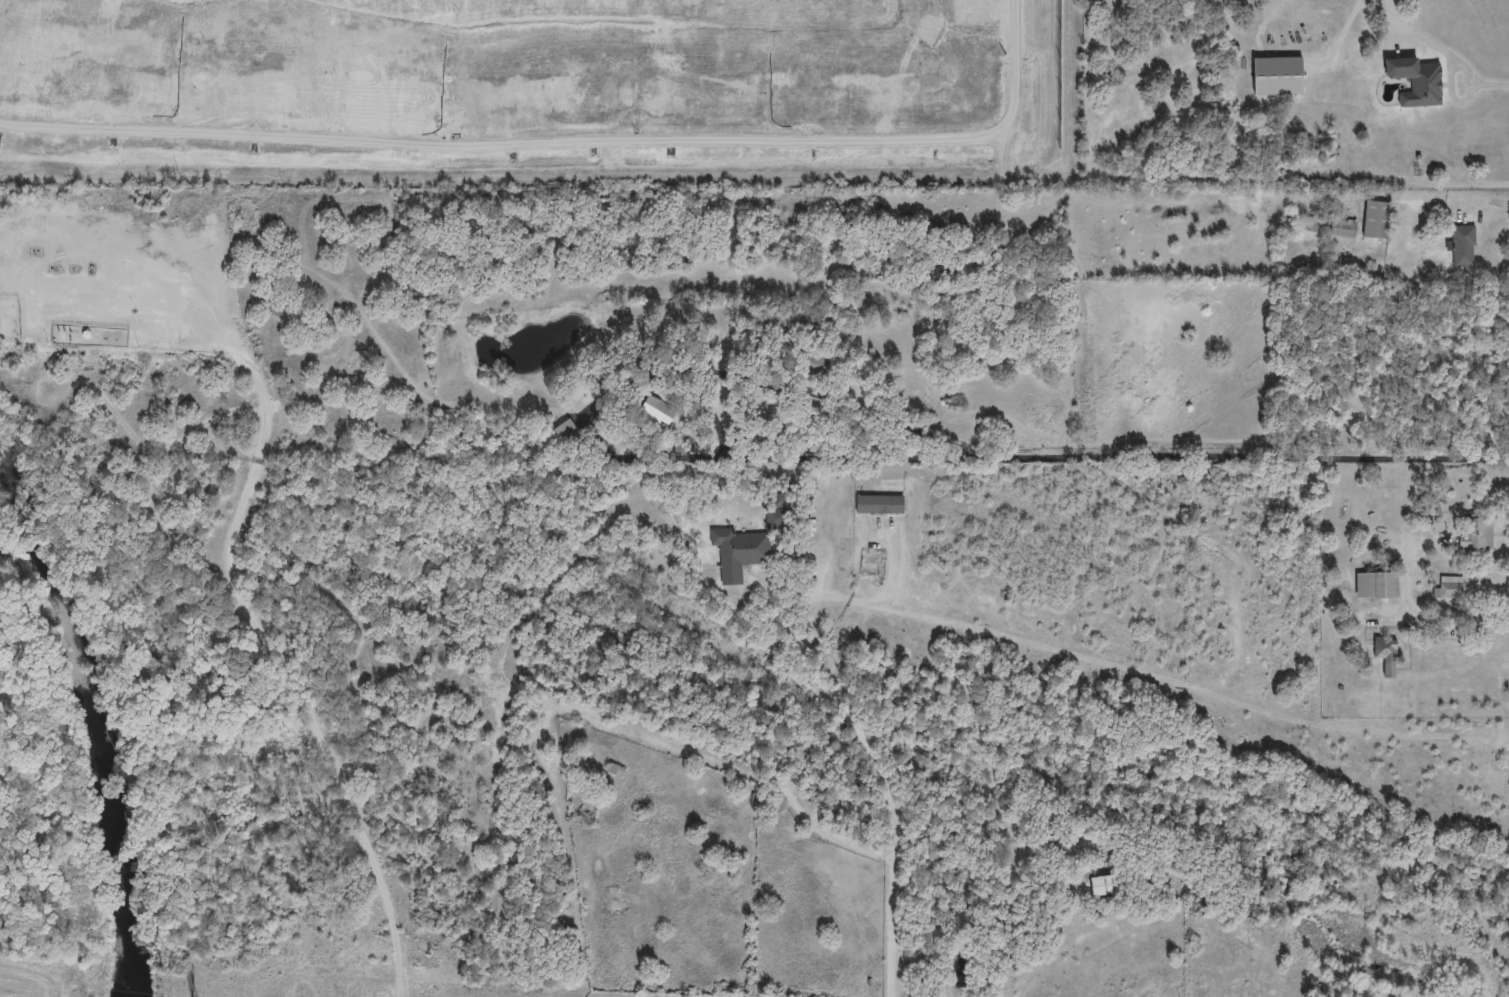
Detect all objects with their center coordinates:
building: (1202, 2)
road: (1431, 45)
building: (1279, 75)
building: (1416, 80)
road: (1497, 84)
landfill: (535, 93)
road: (1488, 200)
building: (1377, 218)
building: (1318, 224)
building: (1343, 228)
building: (1464, 245)
building: (816, 363)
building: (663, 412)
road: (588, 413)
building: (566, 429)
road: (1239, 456)
building: (880, 503)
building: (777, 508)
building: (1478, 532)
building: (739, 551)
building: (1378, 583)
building: (1449, 587)
building: (1386, 648)
road: (268, 657)
road: (1185, 688)
road: (879, 766)
building: (616, 769)
building: (1106, 884)

